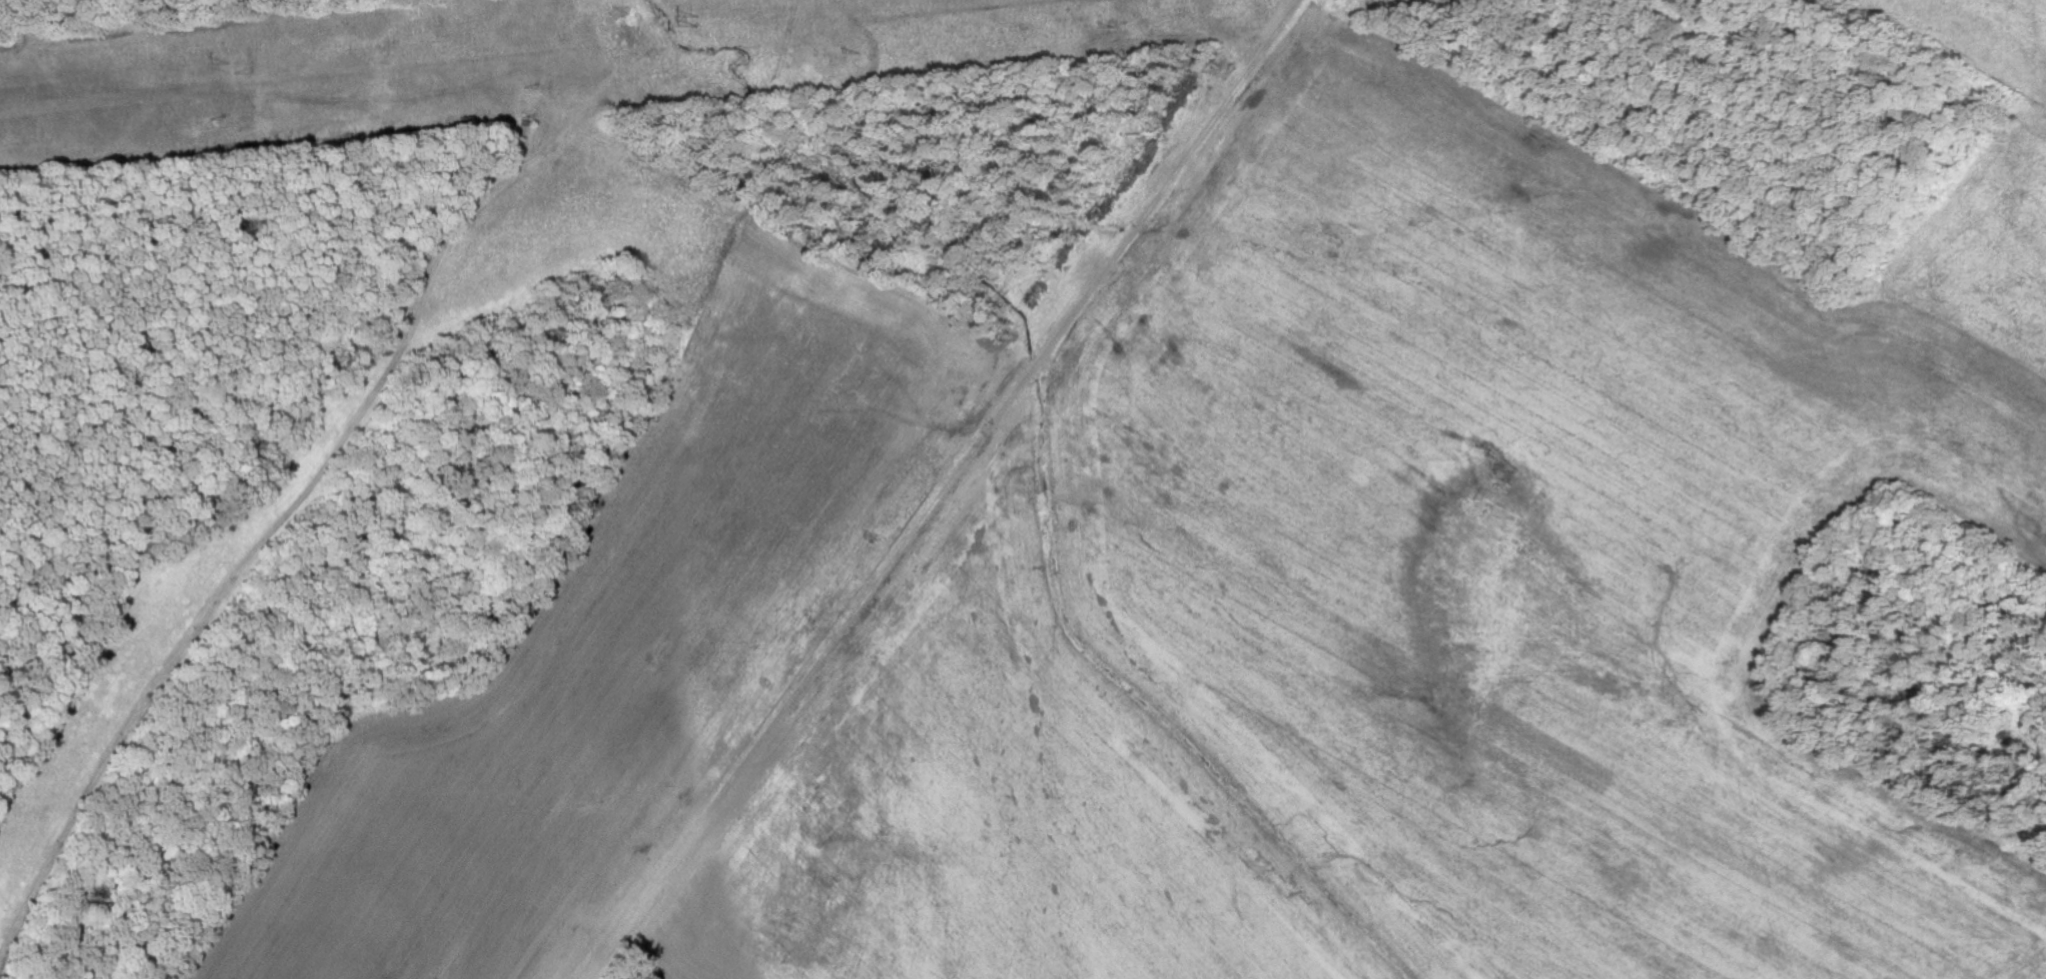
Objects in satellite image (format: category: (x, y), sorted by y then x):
power tower: (700, 17)
power tower: (233, 64)

